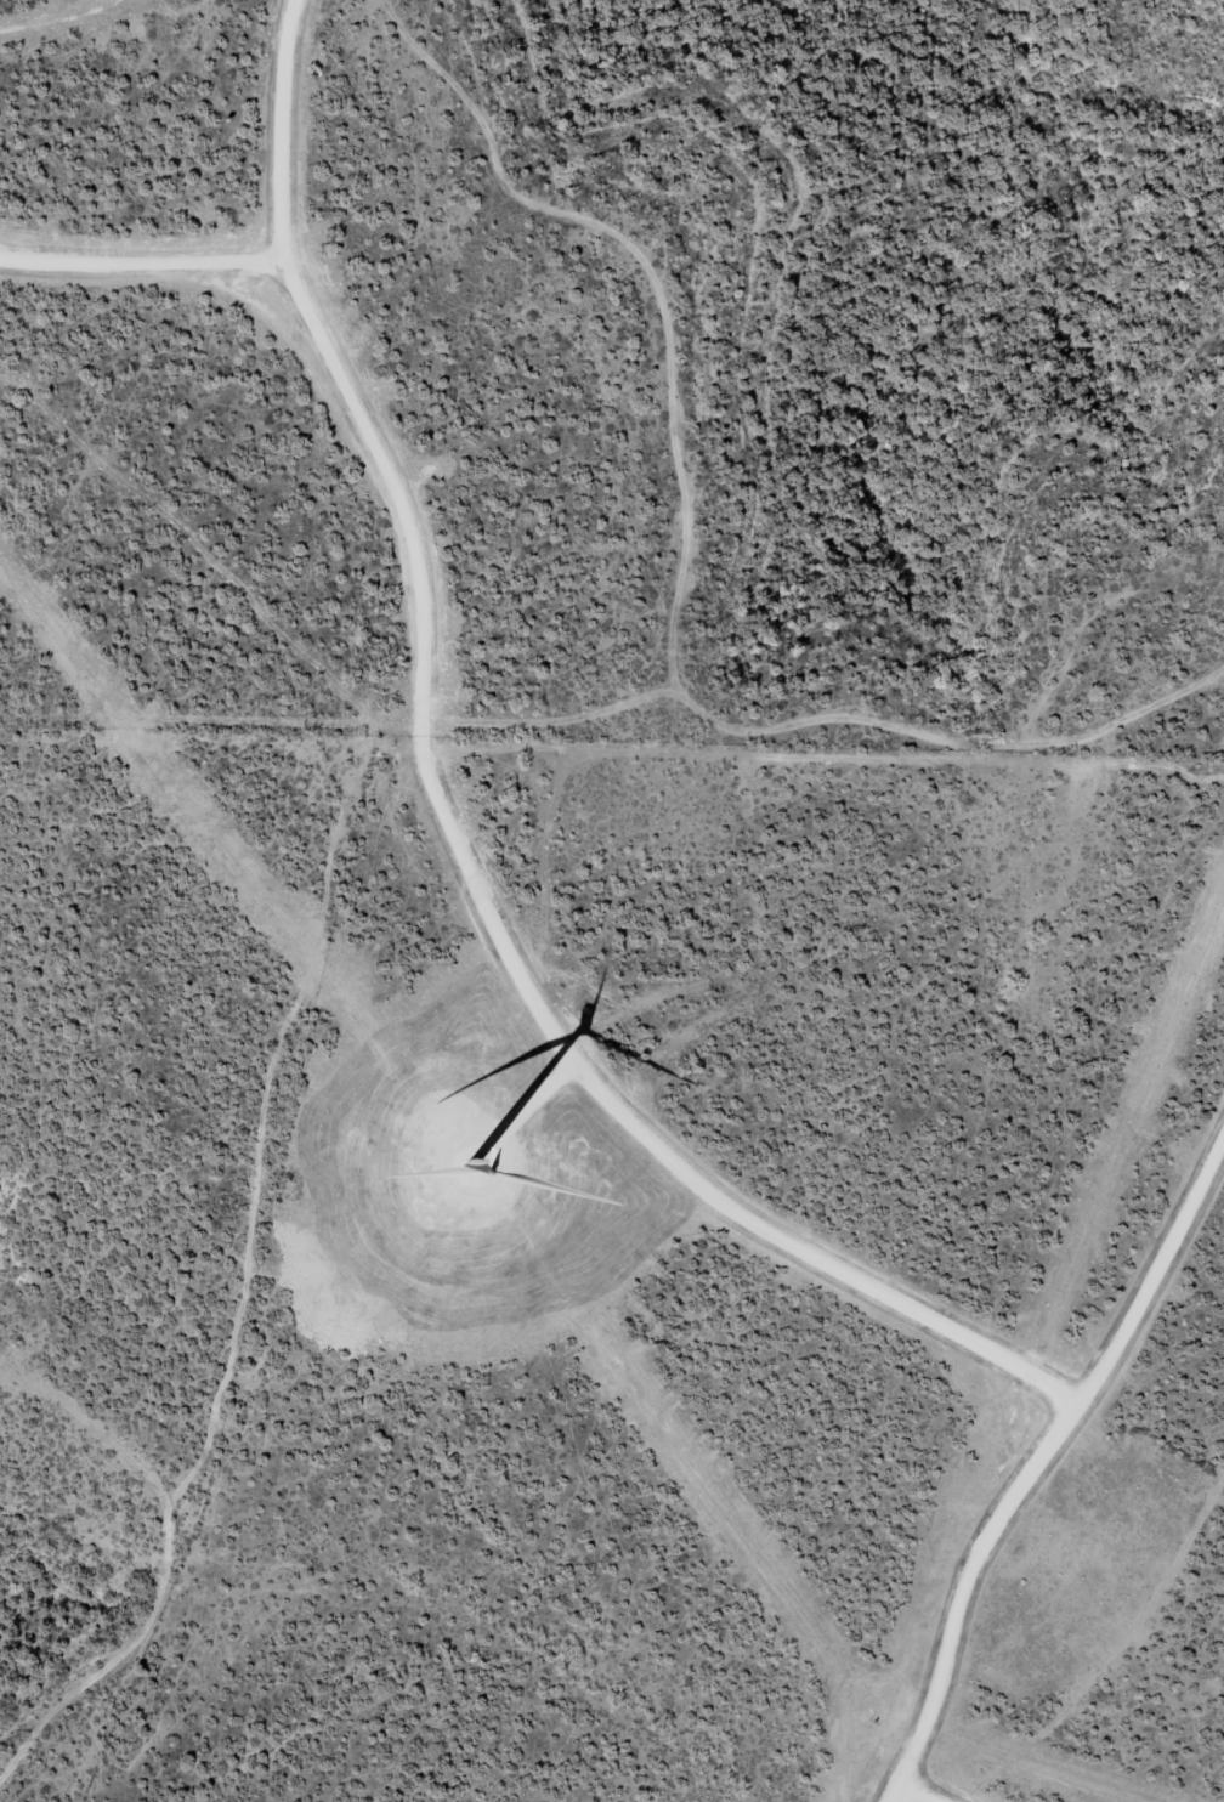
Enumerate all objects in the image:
wind turbine: (469, 1158)

